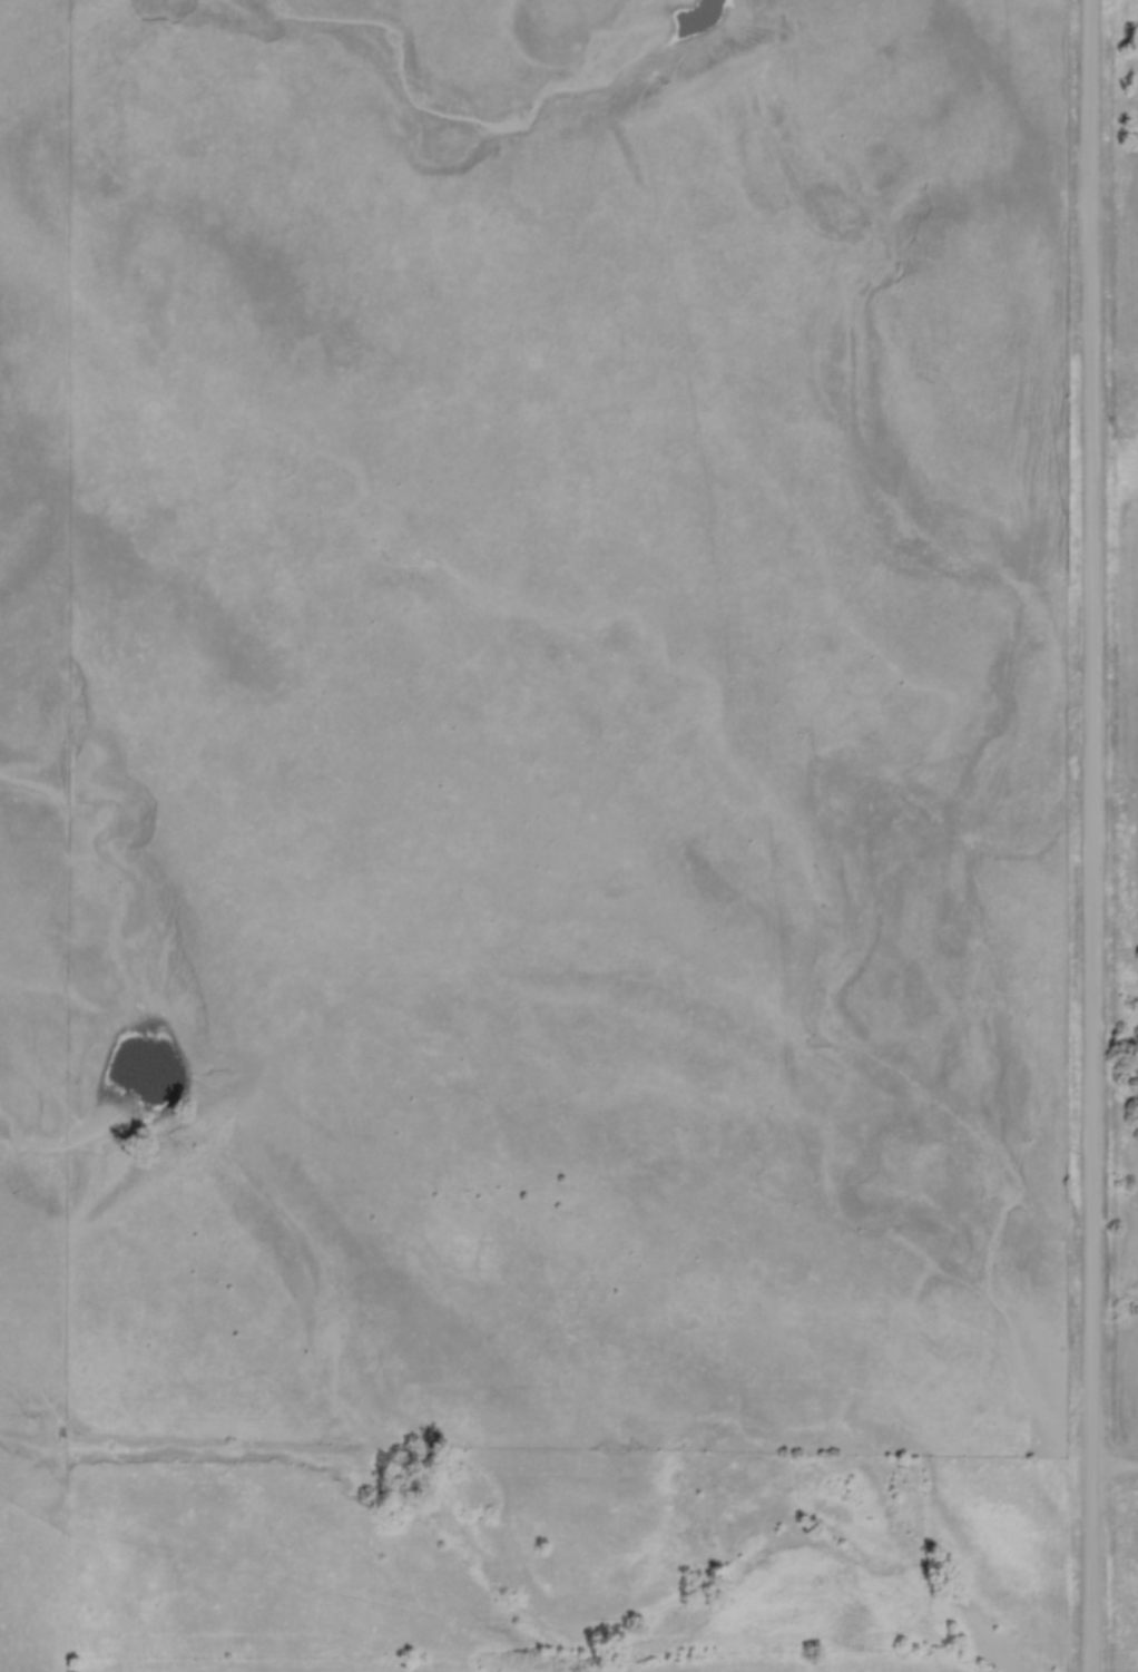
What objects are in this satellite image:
road: (1096, 835)
road: (1115, 1470)

